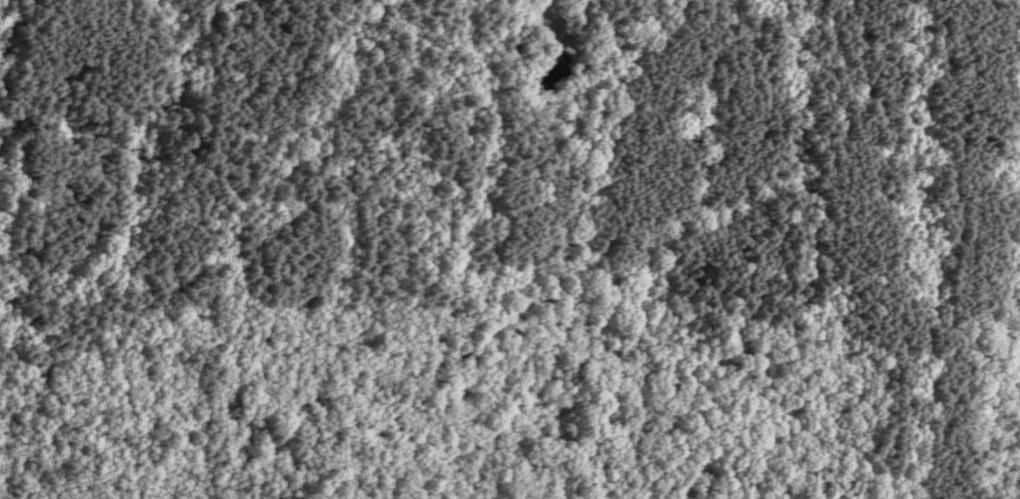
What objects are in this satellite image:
road: (984, 3)

